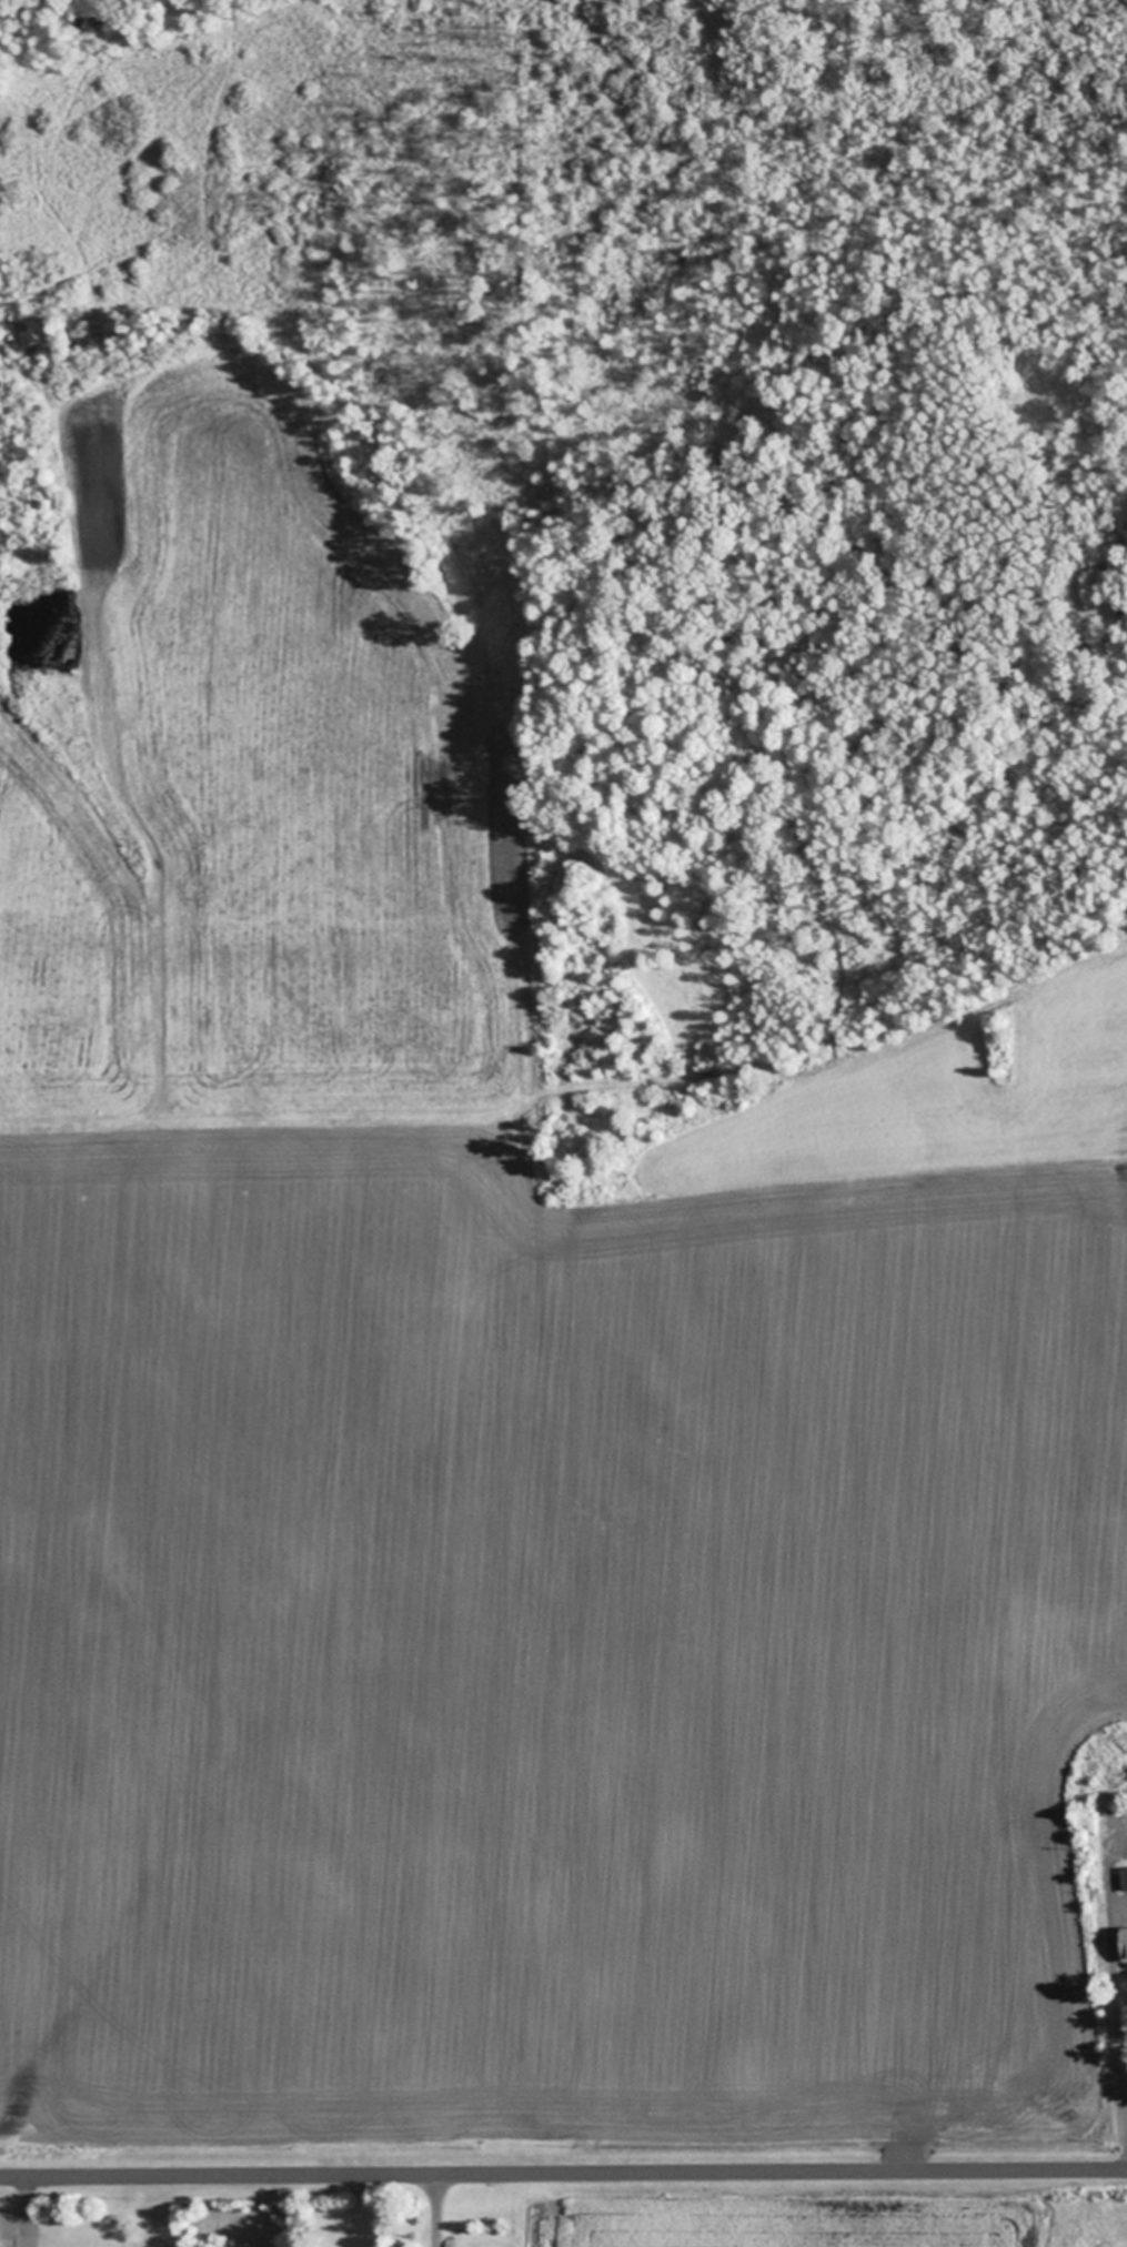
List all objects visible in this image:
building: (1125, 1877)
building: (1126, 1943)
road: (563, 2174)

